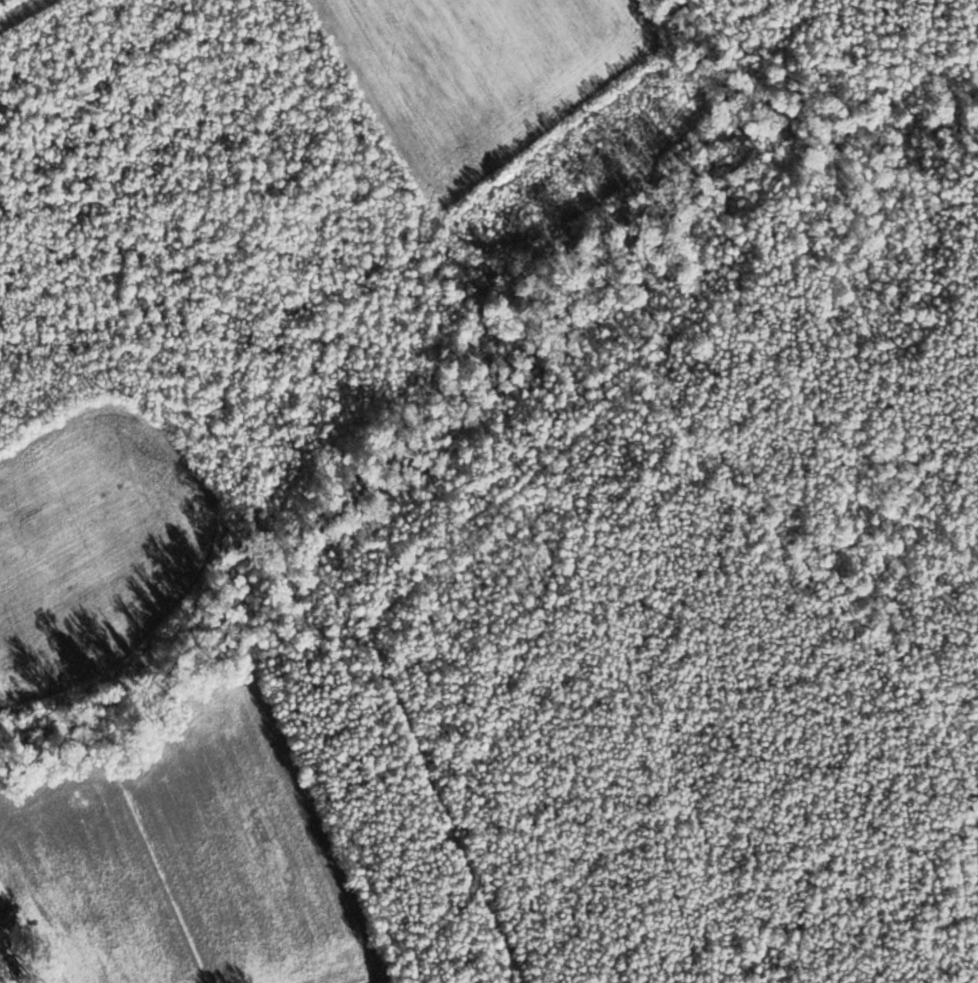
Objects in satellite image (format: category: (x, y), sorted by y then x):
road: (21, 12)

